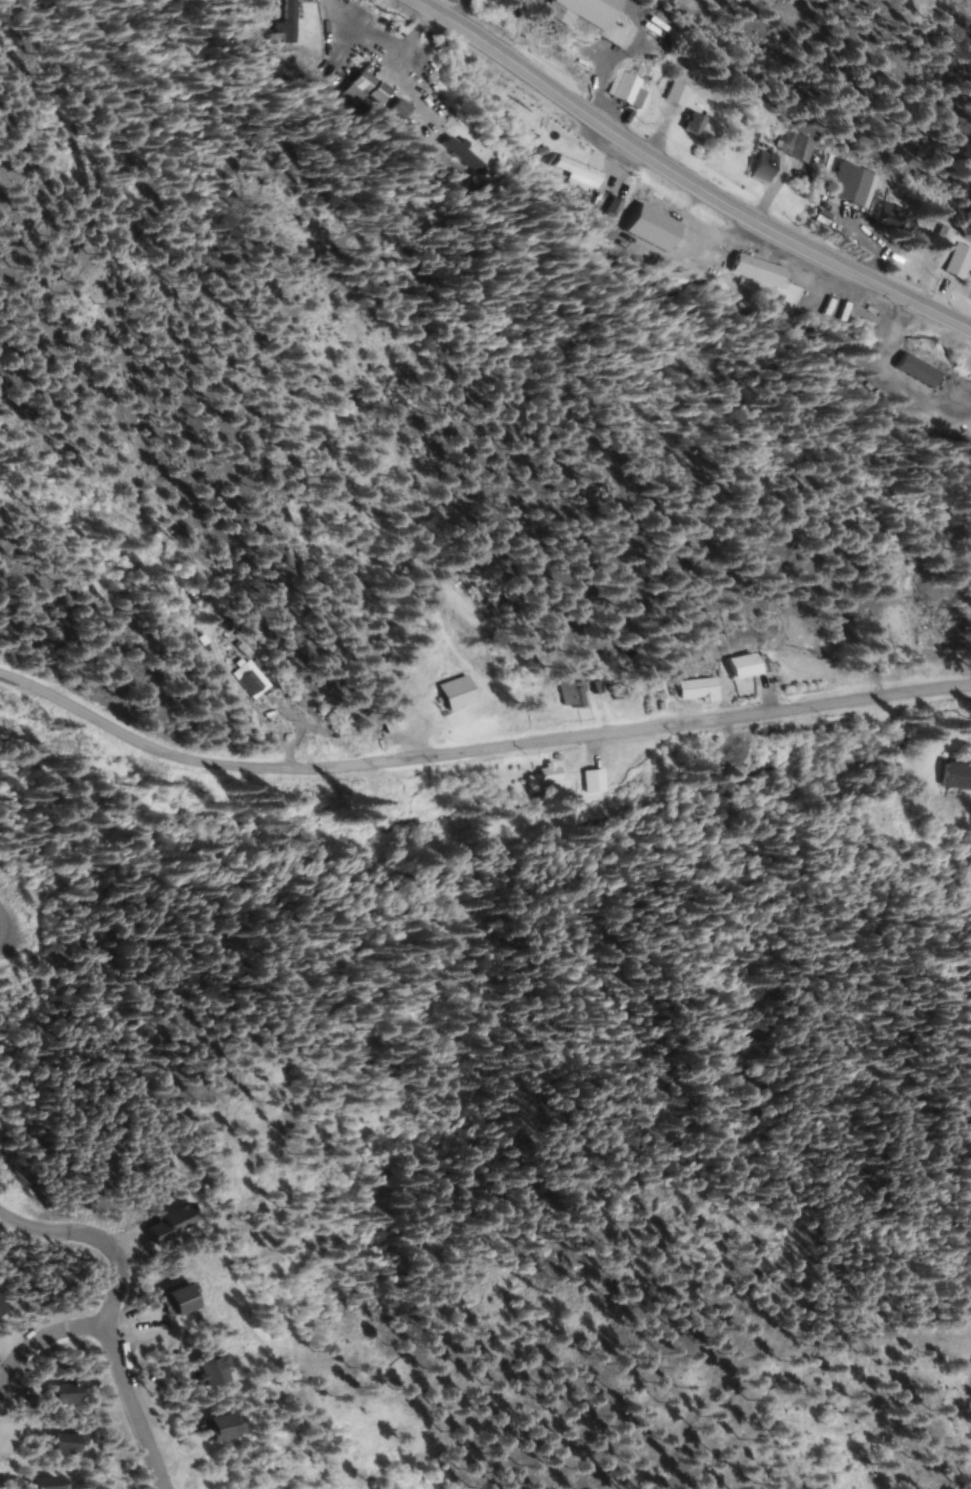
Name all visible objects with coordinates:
building: (276, 16)
building: (604, 19)
building: (374, 87)
building: (628, 88)
building: (681, 94)
building: (705, 127)
building: (804, 149)
building: (766, 168)
road: (684, 181)
building: (855, 185)
building: (896, 218)
building: (961, 262)
building: (759, 269)
building: (920, 370)
building: (750, 665)
building: (252, 678)
building: (701, 689)
building: (461, 693)
building: (576, 693)
building: (396, 722)
road: (478, 751)
building: (728, 755)
building: (957, 776)
building: (549, 778)
building: (596, 781)
road: (92, 1237)
building: (184, 1302)
road: (37, 1337)
building: (219, 1373)
building: (71, 1393)
road: (130, 1402)
building: (228, 1428)
building: (69, 1445)
building: (53, 1483)

